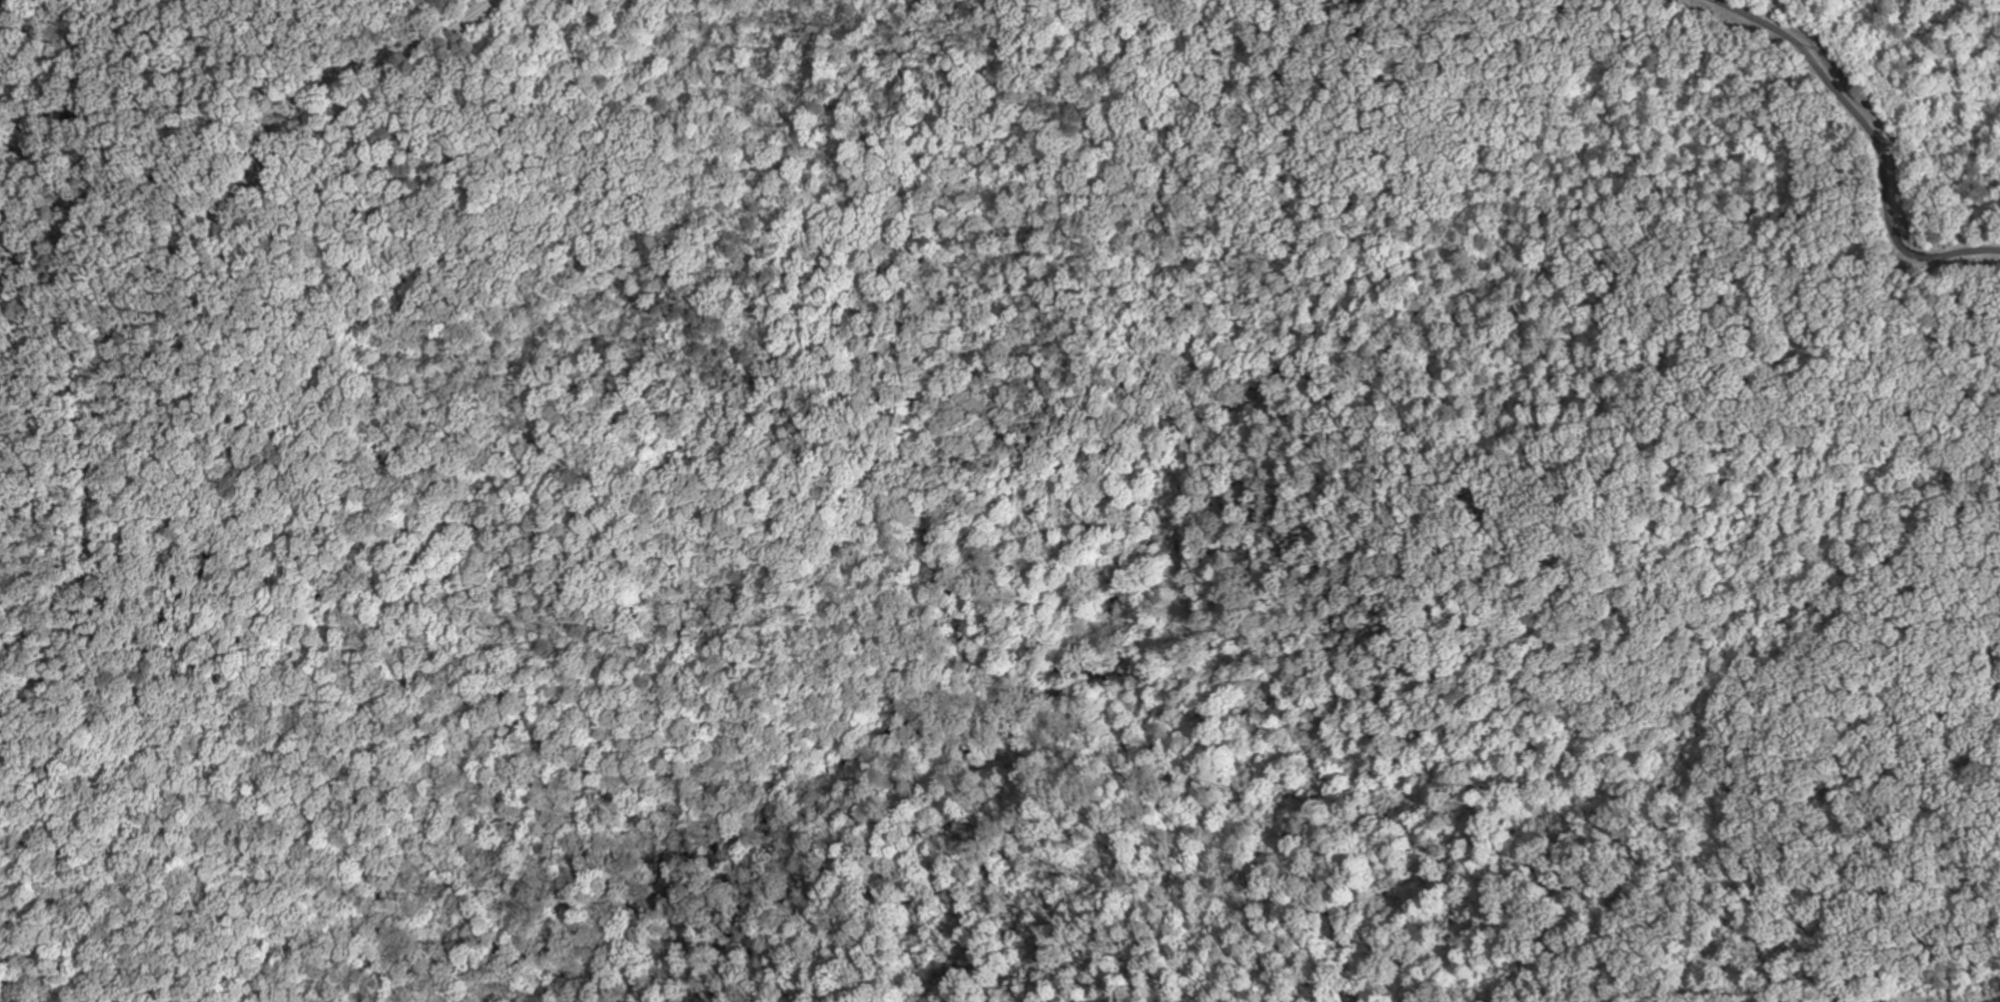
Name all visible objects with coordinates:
road: (1872, 139)

